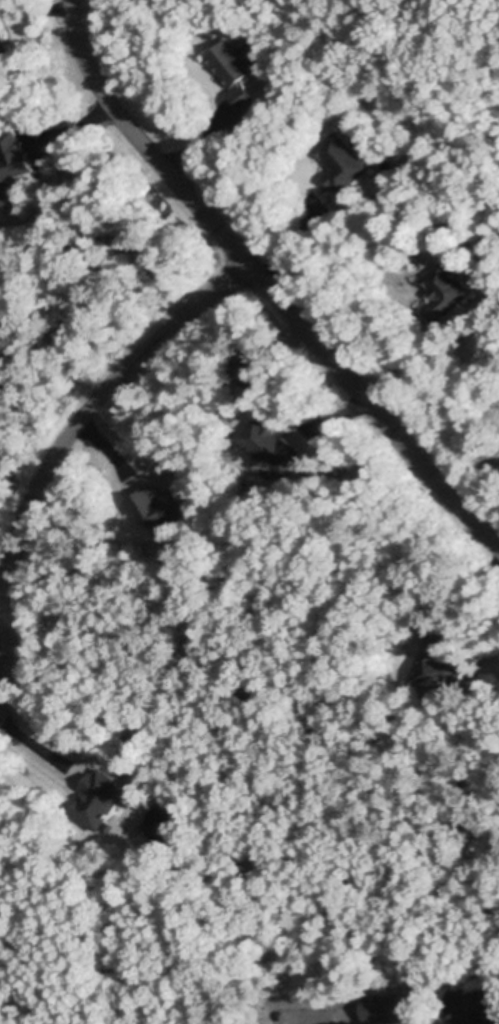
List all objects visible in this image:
building: (3, 45)
building: (235, 72)
building: (287, 74)
building: (342, 162)
building: (14, 171)
road: (299, 243)
road: (265, 287)
building: (445, 292)
building: (251, 371)
building: (272, 444)
road: (55, 452)
building: (161, 507)
building: (442, 664)
building: (132, 742)
road: (41, 749)
building: (102, 798)
building: (144, 862)
building: (15, 968)
building: (433, 969)
building: (391, 1008)

